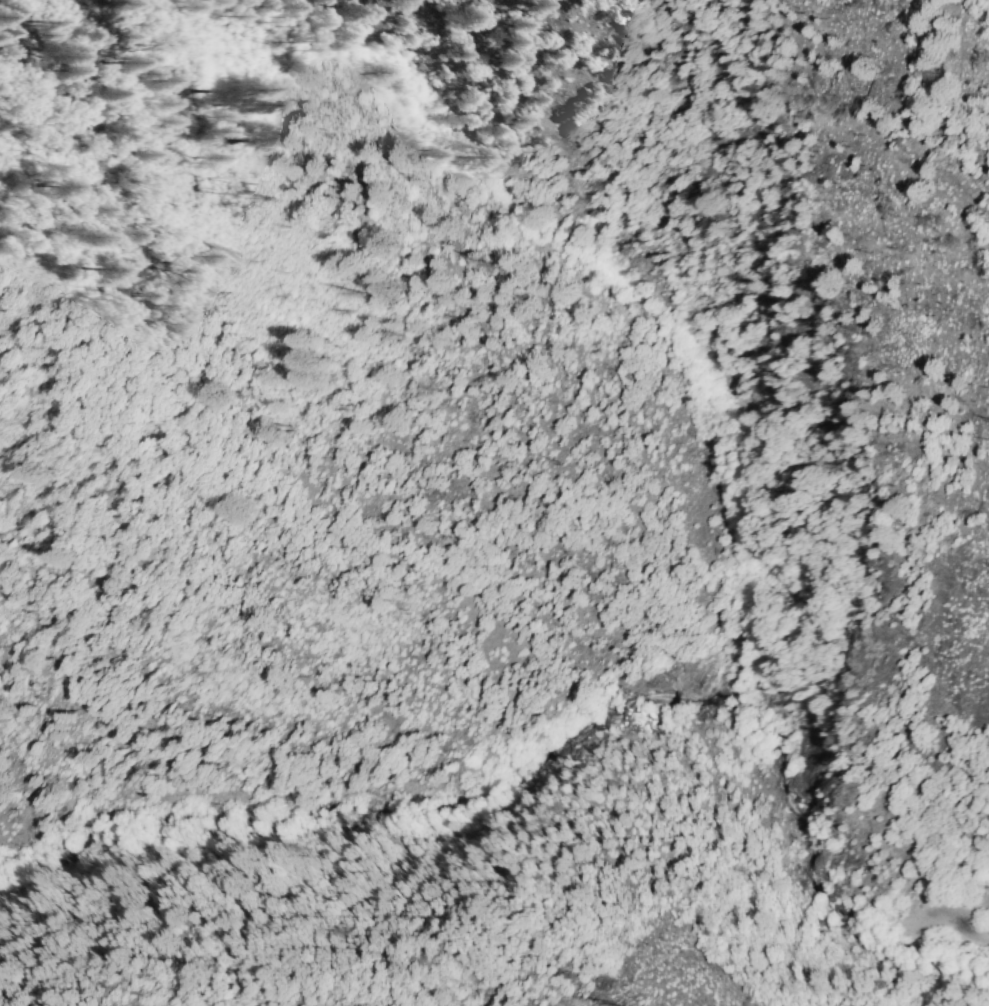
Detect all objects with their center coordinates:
power tower: (633, 1005)

